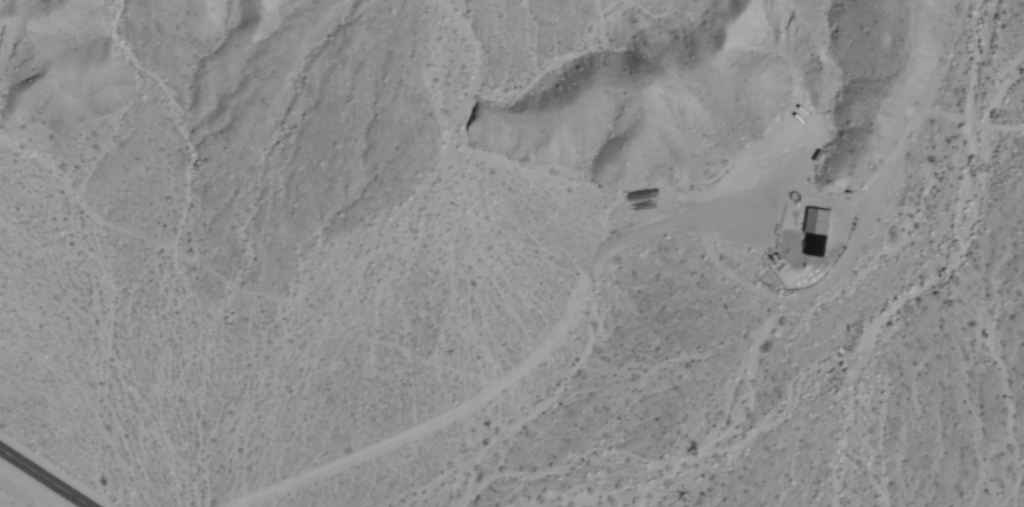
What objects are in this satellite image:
road: (302, 195)
road: (23, 491)

